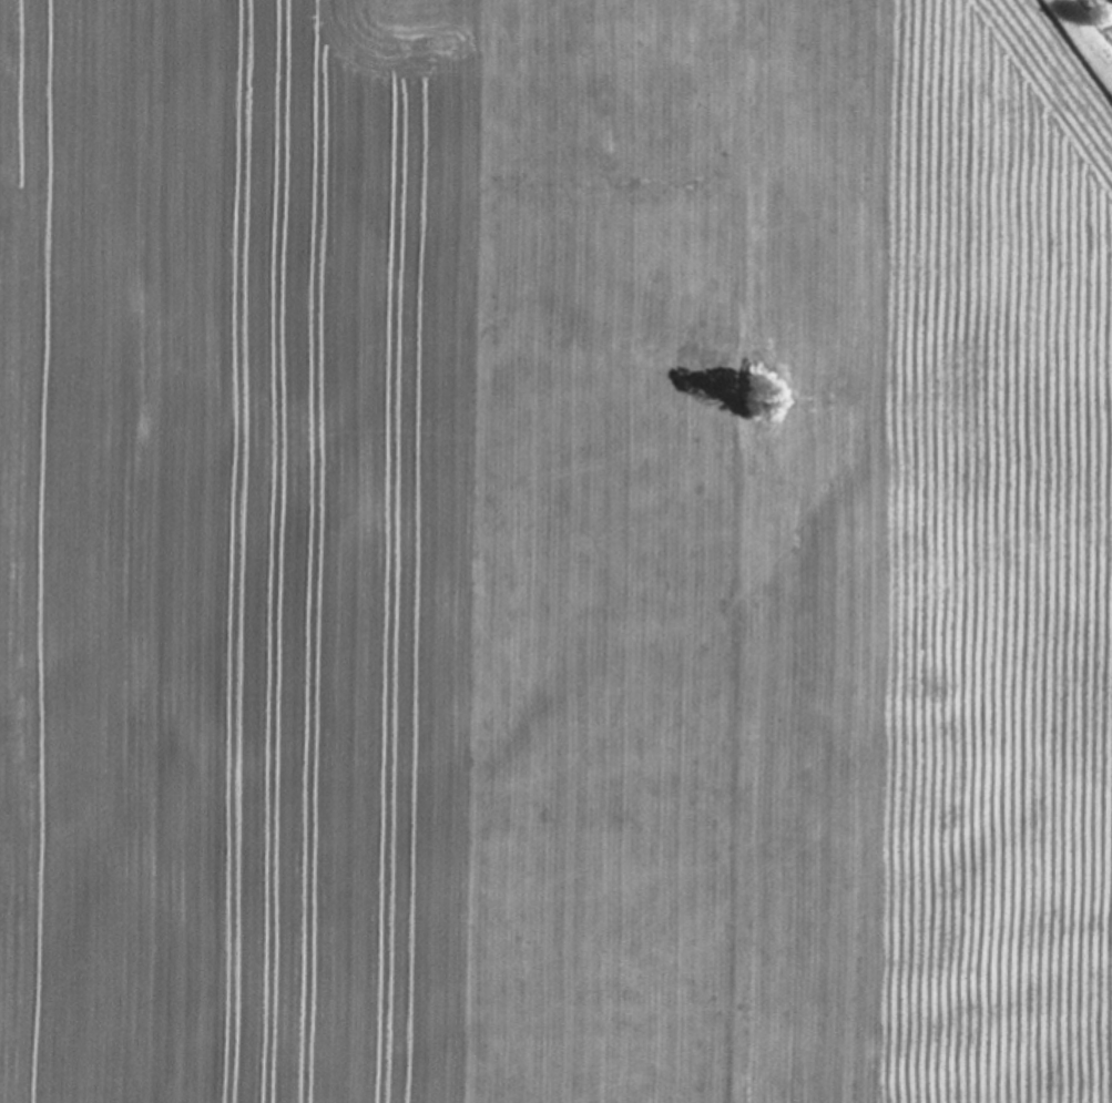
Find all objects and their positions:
road: (1108, 6)

